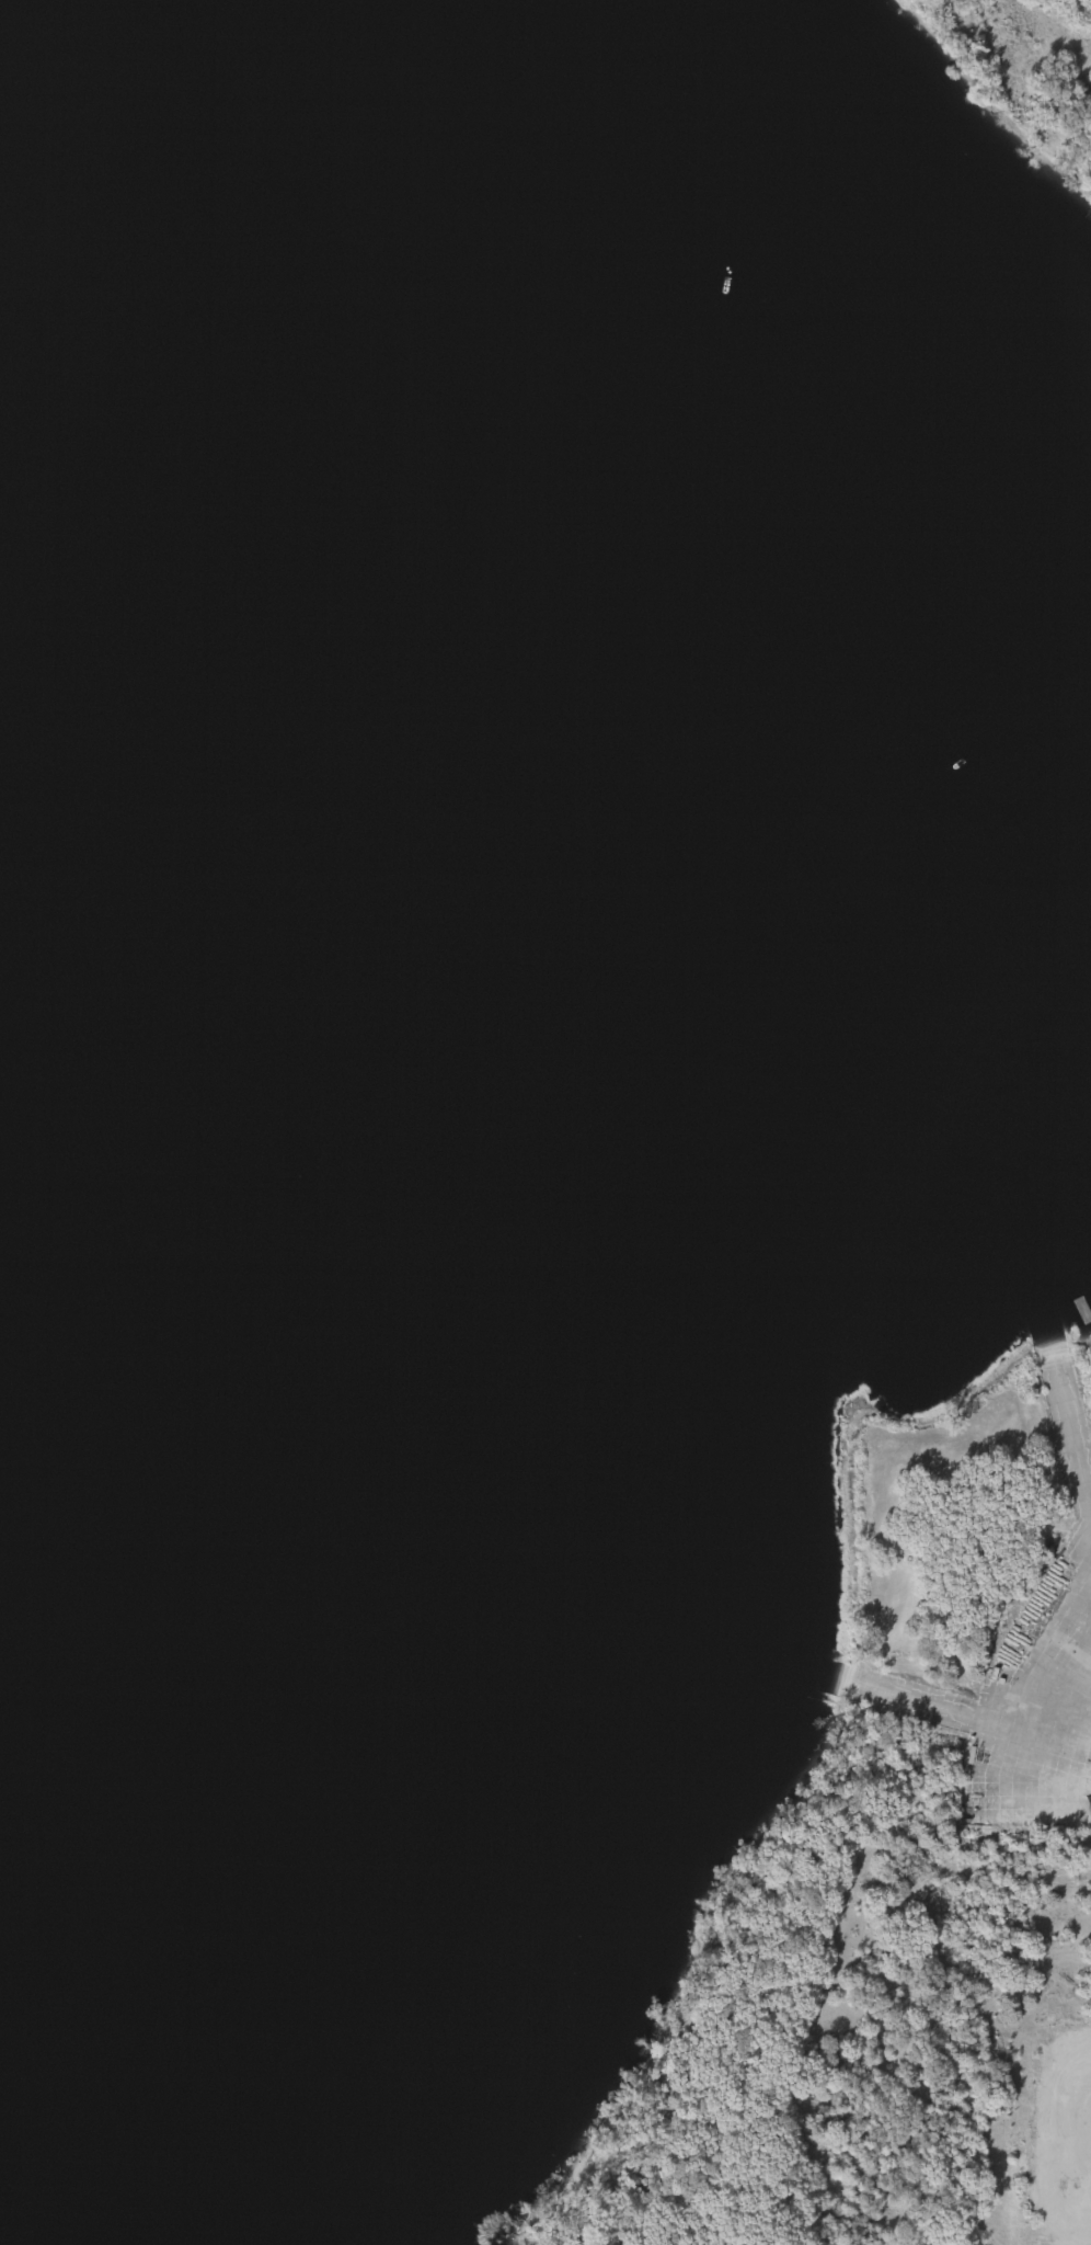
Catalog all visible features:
river: (103, 535)
building: (1086, 1258)
road: (957, 1712)
road: (1073, 1753)
building: (1088, 1811)

